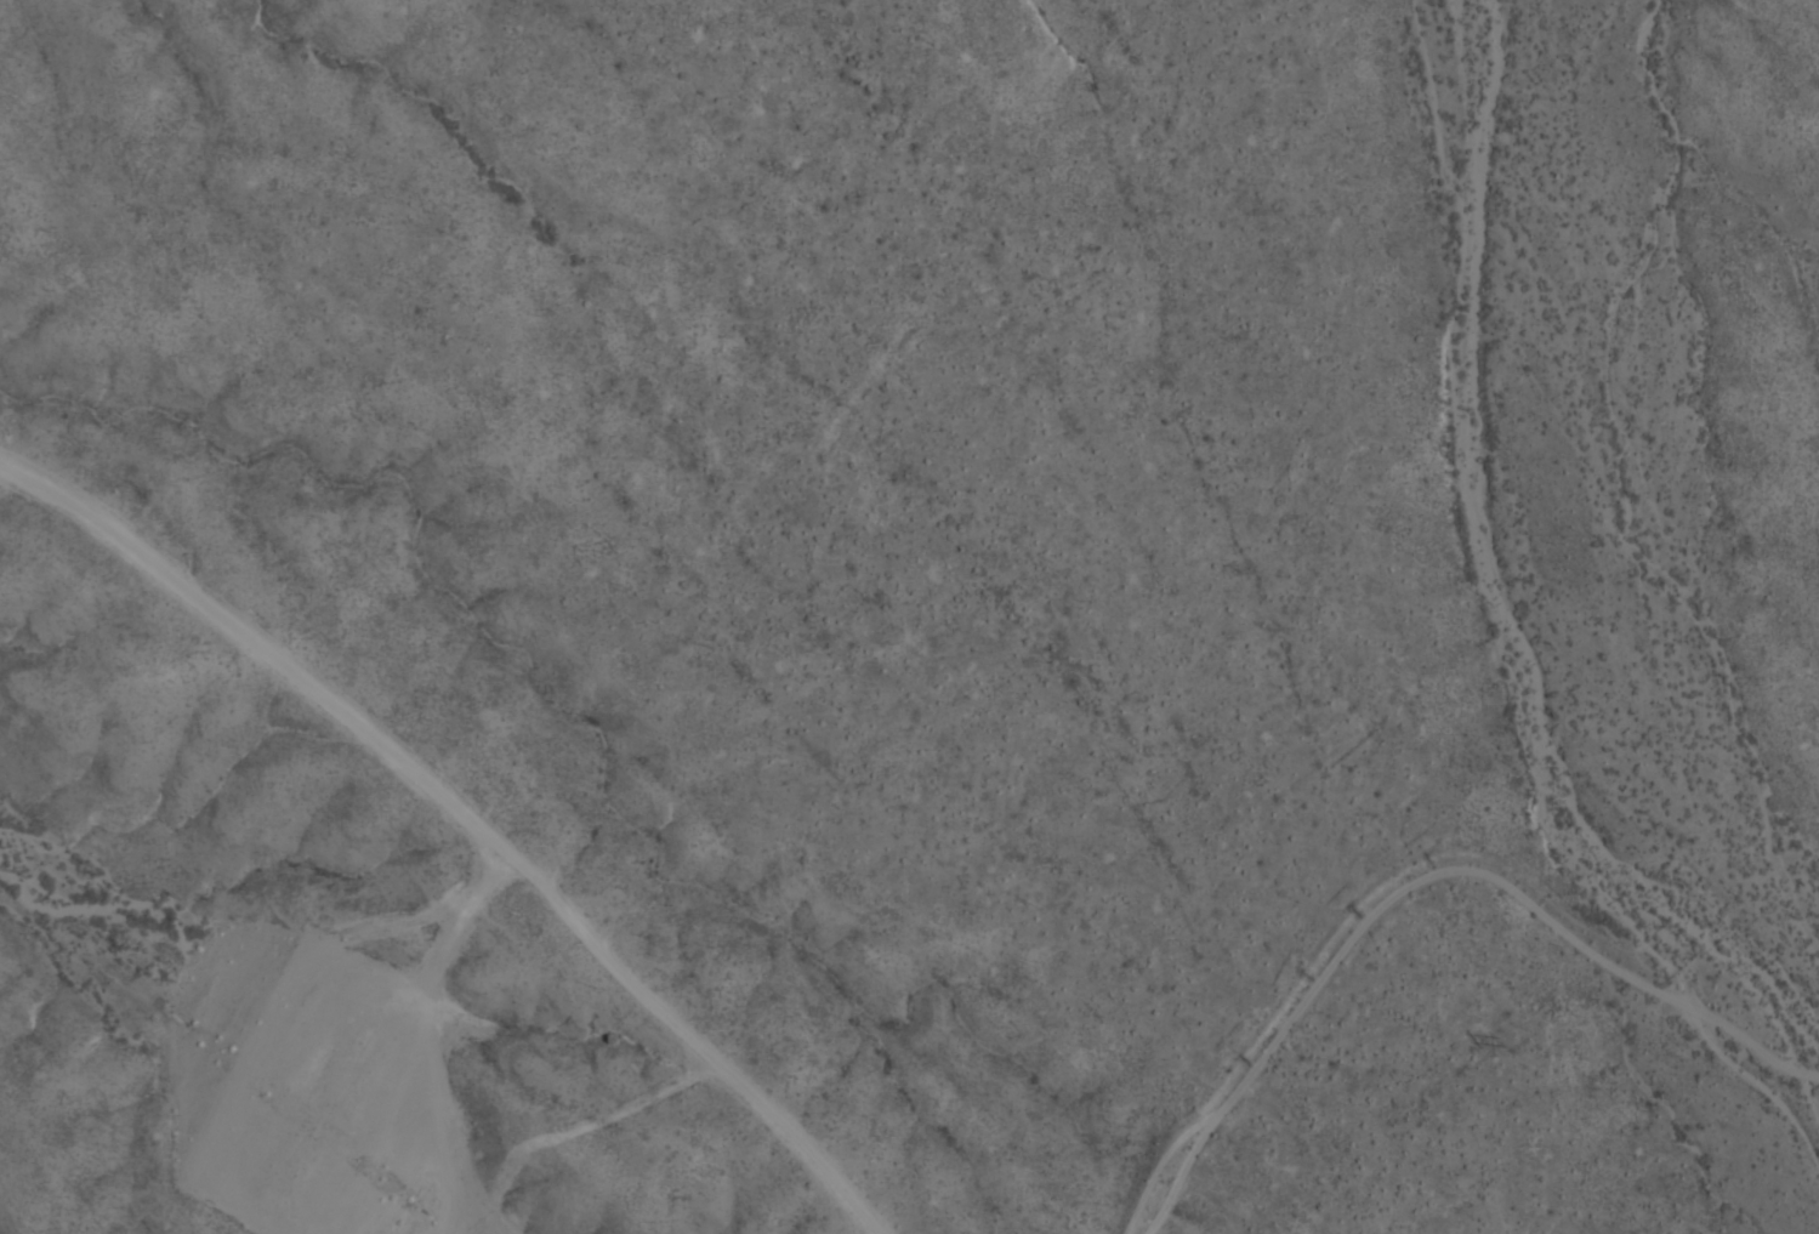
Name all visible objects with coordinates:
power tower: (1507, 1052)

